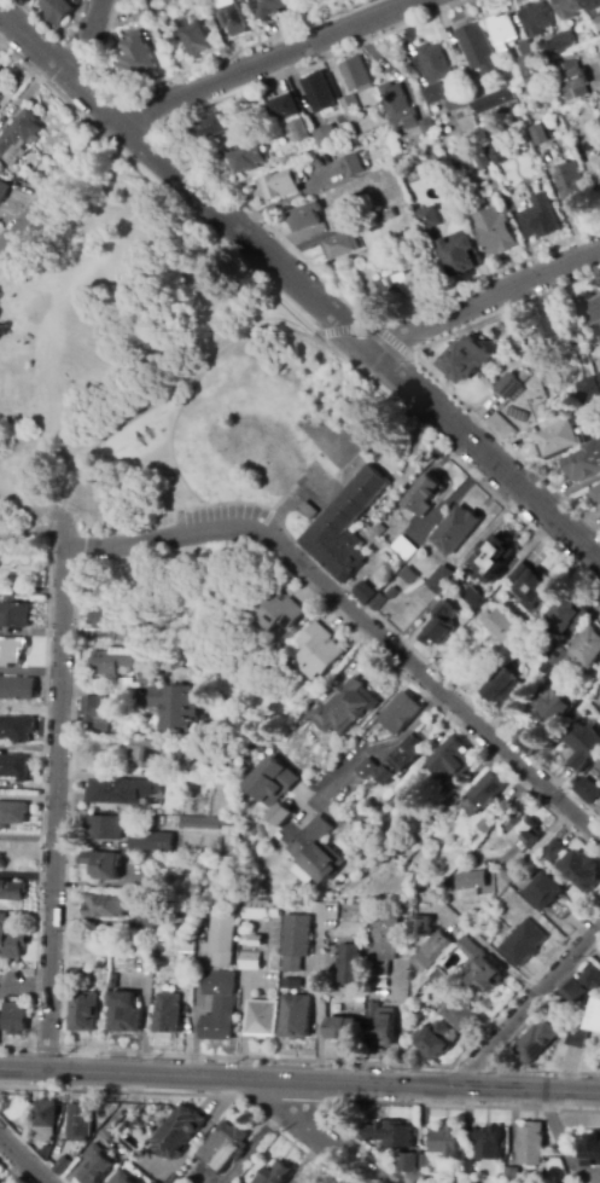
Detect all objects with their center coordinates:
building: (593, 5)
building: (266, 7)
building: (569, 8)
building: (57, 10)
building: (139, 12)
building: (229, 17)
building: (536, 19)
building: (596, 25)
building: (502, 31)
road: (86, 39)
building: (196, 40)
building: (565, 41)
building: (478, 51)
building: (138, 56)
road: (270, 62)
building: (432, 63)
building: (529, 64)
building: (355, 74)
road: (595, 74)
building: (572, 81)
building: (1, 85)
building: (318, 93)
building: (431, 94)
building: (493, 102)
building: (455, 104)
building: (285, 108)
building: (397, 108)
building: (350, 109)
building: (212, 127)
building: (426, 127)
building: (296, 131)
building: (542, 134)
building: (18, 137)
building: (324, 138)
building: (500, 153)
building: (245, 160)
building: (482, 160)
building: (354, 166)
building: (437, 166)
building: (594, 172)
building: (572, 184)
building: (281, 185)
road: (60, 189)
building: (2, 190)
road: (237, 195)
road: (101, 211)
building: (386, 215)
building: (305, 218)
building: (431, 219)
building: (368, 220)
building: (540, 220)
building: (332, 224)
building: (496, 232)
building: (338, 248)
building: (462, 255)
building: (378, 260)
road: (301, 289)
building: (394, 291)
road: (60, 301)
road: (480, 301)
building: (590, 313)
road: (367, 326)
building: (552, 326)
building: (464, 363)
road: (426, 371)
road: (359, 372)
park: (167, 373)
building: (598, 377)
building: (511, 383)
building: (583, 387)
road: (165, 395)
building: (541, 408)
building: (557, 441)
road: (170, 443)
road: (45, 448)
building: (583, 464)
building: (425, 494)
building: (595, 494)
road: (307, 499)
road: (239, 503)
building: (307, 514)
road: (308, 527)
building: (344, 527)
building: (455, 530)
building: (403, 547)
building: (493, 558)
building: (519, 573)
building: (408, 576)
building: (441, 580)
building: (531, 590)
building: (392, 595)
building: (371, 597)
building: (474, 601)
building: (273, 611)
building: (13, 614)
road: (359, 616)
building: (567, 617)
building: (111, 622)
building: (438, 625)
building: (505, 630)
building: (10, 651)
building: (318, 651)
building: (582, 653)
building: (555, 656)
building: (110, 661)
building: (148, 675)
road: (447, 682)
building: (17, 689)
building: (501, 691)
building: (595, 697)
building: (549, 704)
building: (173, 707)
building: (345, 708)
building: (400, 713)
building: (95, 714)
building: (13, 729)
building: (531, 742)
building: (582, 747)
road: (372, 752)
building: (144, 755)
building: (448, 755)
building: (401, 760)
building: (232, 764)
building: (598, 765)
building: (13, 766)
building: (367, 769)
building: (192, 770)
building: (272, 782)
building: (410, 788)
building: (489, 789)
building: (587, 790)
building: (122, 791)
road: (54, 808)
building: (598, 810)
building: (12, 814)
building: (280, 817)
building: (153, 820)
building: (205, 823)
building: (488, 824)
building: (104, 828)
building: (257, 831)
building: (523, 831)
building: (151, 842)
building: (318, 851)
building: (554, 851)
building: (151, 863)
building: (104, 866)
building: (581, 871)
road: (27, 874)
building: (147, 883)
building: (473, 883)
building: (12, 892)
building: (546, 892)
building: (107, 906)
building: (564, 907)
building: (261, 910)
building: (2, 918)
road: (92, 924)
building: (421, 927)
building: (220, 939)
building: (252, 939)
building: (296, 943)
building: (524, 943)
building: (11, 944)
building: (185, 945)
building: (383, 945)
road: (483, 945)
building: (432, 950)
building: (249, 961)
building: (351, 964)
building: (479, 968)
building: (75, 974)
building: (592, 978)
building: (439, 981)
building: (381, 982)
building: (295, 984)
building: (571, 996)
road: (316, 1001)
road: (526, 1004)
building: (219, 1005)
building: (85, 1013)
building: (124, 1014)
building: (168, 1014)
building: (459, 1015)
building: (14, 1017)
building: (296, 1017)
building: (594, 1017)
building: (262, 1019)
building: (380, 1025)
road: (404, 1026)
building: (342, 1028)
building: (576, 1038)
building: (435, 1040)
building: (536, 1042)
road: (502, 1048)
road: (299, 1083)
building: (46, 1120)
building: (80, 1121)
road: (327, 1131)
building: (177, 1132)
building: (390, 1135)
building: (445, 1141)
building: (488, 1143)
road: (560, 1143)
building: (530, 1144)
building: (225, 1147)
building: (593, 1152)
road: (23, 1159)
building: (412, 1162)
building: (95, 1165)
building: (62, 1166)
building: (466, 1168)
building: (275, 1173)
building: (512, 1176)
building: (120, 1178)
building: (432, 1178)
building: (169, 1181)
building: (449, 1181)
building: (467, 1181)
building: (304, 1182)
building: (311, 1182)
building: (458, 1182)

